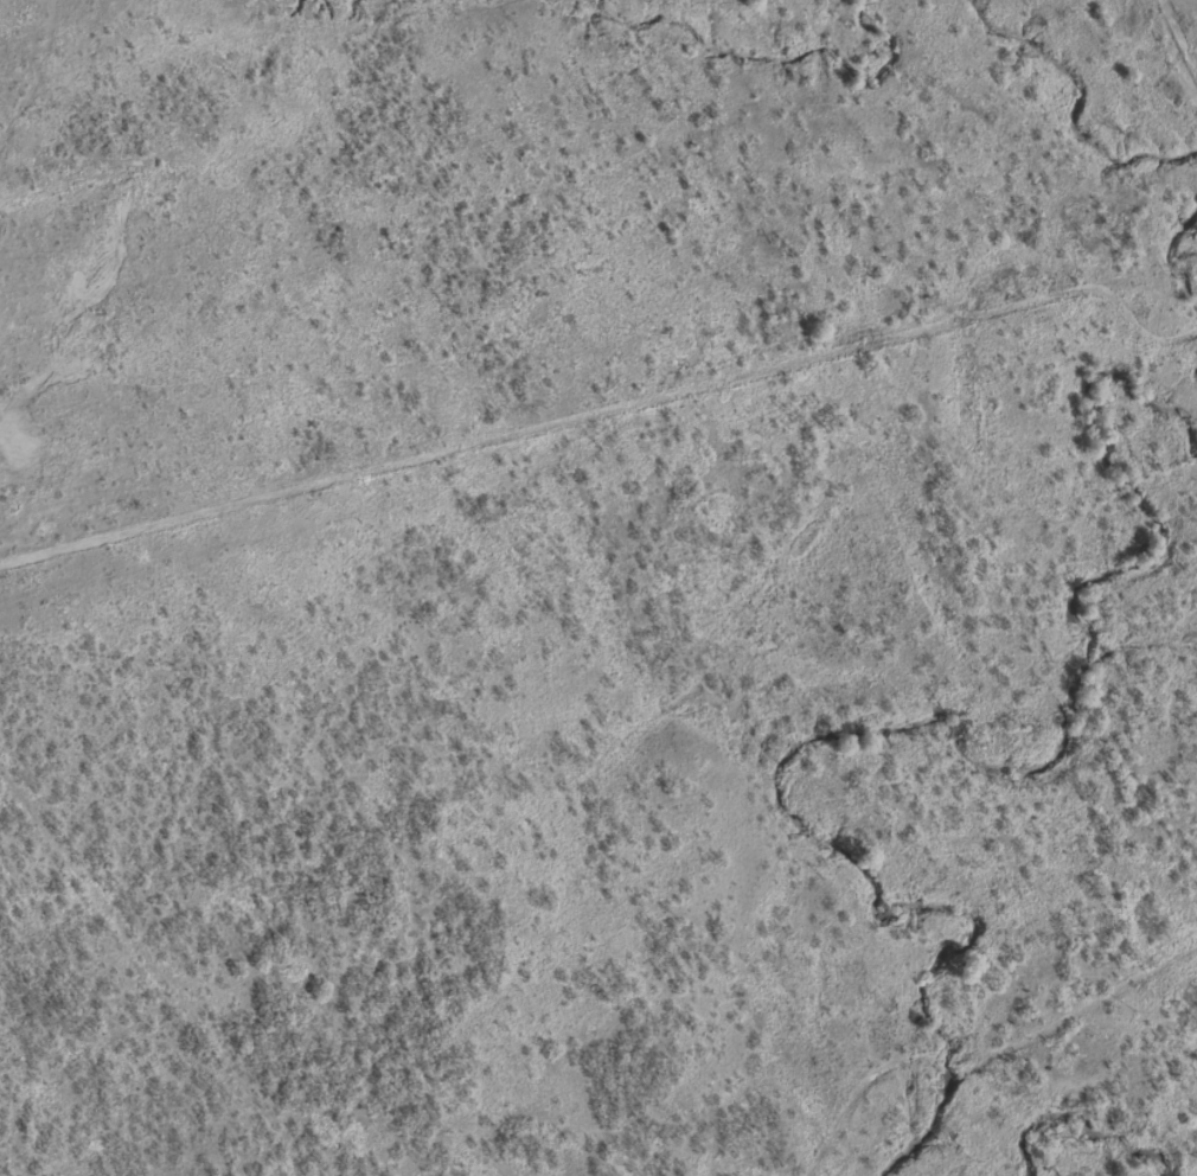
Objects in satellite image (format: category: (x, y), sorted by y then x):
road: (194, 938)
road: (984, 1065)

